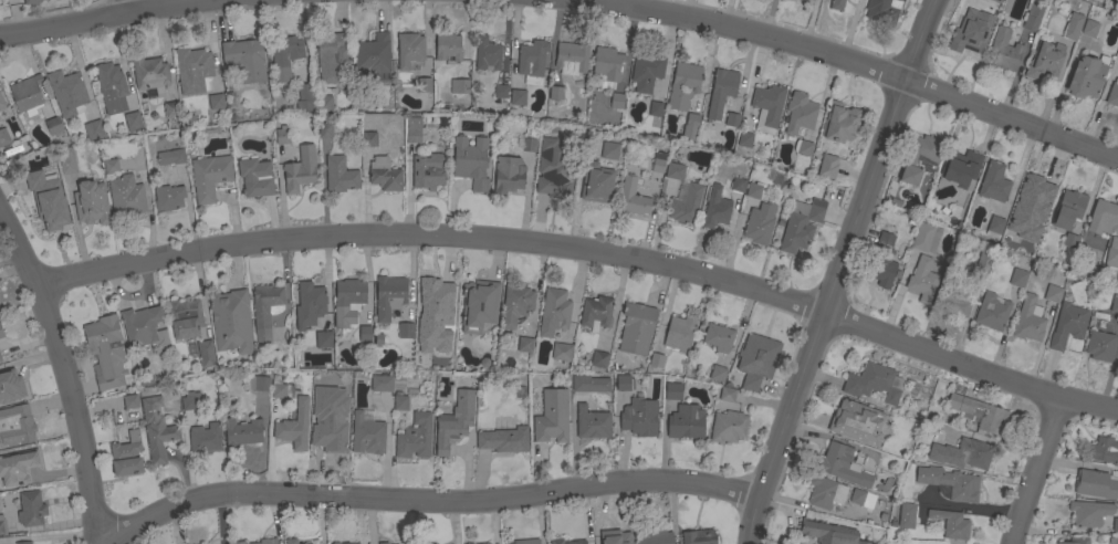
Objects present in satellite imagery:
building: (806, 0)
building: (996, 0)
building: (30, 1)
building: (836, 4)
road: (132, 6)
building: (882, 10)
building: (1032, 17)
road: (101, 19)
building: (1073, 27)
building: (1089, 28)
building: (968, 39)
building: (448, 46)
building: (409, 50)
building: (1003, 51)
building: (1117, 51)
building: (373, 54)
building: (487, 54)
building: (284, 56)
building: (331, 56)
building: (571, 57)
building: (244, 60)
road: (846, 60)
building: (532, 61)
building: (1043, 61)
building: (607, 66)
building: (194, 70)
building: (646, 72)
building: (149, 73)
building: (1086, 76)
building: (424, 84)
building: (683, 85)
building: (459, 86)
building: (111, 87)
building: (500, 91)
building: (721, 92)
building: (67, 93)
building: (555, 93)
building: (27, 94)
building: (1112, 94)
building: (304, 97)
building: (518, 97)
building: (216, 101)
building: (616, 101)
building: (324, 103)
building: (1, 104)
building: (767, 107)
building: (655, 108)
building: (170, 109)
building: (800, 114)
building: (732, 119)
building: (133, 121)
building: (839, 122)
building: (53, 126)
building: (690, 126)
building: (324, 128)
building: (93, 129)
building: (412, 129)
building: (281, 135)
building: (3, 137)
building: (368, 138)
building: (744, 139)
building: (529, 145)
building: (804, 148)
building: (609, 150)
building: (170, 157)
building: (920, 158)
building: (67, 160)
building: (471, 161)
building: (658, 163)
building: (111, 166)
building: (827, 166)
building: (300, 169)
building: (959, 169)
building: (428, 170)
building: (675, 170)
building: (339, 175)
building: (384, 175)
building: (508, 175)
building: (209, 176)
building: (255, 177)
building: (554, 181)
building: (596, 182)
building: (993, 182)
building: (738, 185)
building: (753, 190)
building: (1033, 191)
building: (126, 197)
building: (168, 198)
building: (631, 198)
building: (46, 200)
building: (90, 202)
building: (685, 205)
building: (714, 208)
building: (1067, 209)
building: (1103, 218)
building: (759, 223)
building: (801, 224)
building: (994, 227)
building: (1014, 231)
building: (926, 238)
building: (1069, 240)
road: (588, 248)
building: (1111, 253)
building: (884, 260)
building: (983, 262)
road: (842, 271)
building: (1017, 278)
building: (922, 279)
building: (1052, 293)
building: (388, 295)
building: (954, 300)
building: (347, 301)
building: (428, 301)
building: (309, 304)
building: (515, 304)
building: (1114, 304)
building: (479, 305)
building: (265, 308)
building: (992, 311)
building: (554, 312)
building: (596, 312)
building: (185, 317)
building: (276, 317)
building: (1028, 320)
building: (230, 321)
building: (1067, 323)
building: (145, 328)
building: (636, 328)
building: (405, 331)
building: (1, 333)
building: (364, 333)
building: (679, 333)
building: (718, 336)
building: (0, 337)
building: (323, 338)
building: (524, 344)
building: (1099, 345)
building: (105, 351)
building: (562, 352)
building: (205, 354)
building: (421, 354)
building: (0, 359)
building: (598, 359)
building: (656, 359)
building: (756, 359)
road: (67, 372)
building: (718, 373)
building: (623, 383)
building: (874, 383)
building: (258, 384)
building: (382, 384)
building: (589, 384)
building: (10, 386)
building: (280, 389)
building: (672, 391)
building: (724, 394)
building: (343, 399)
building: (194, 400)
building: (129, 401)
building: (400, 402)
building: (979, 412)
building: (552, 417)
building: (639, 417)
building: (454, 421)
building: (592, 422)
building: (686, 422)
building: (857, 422)
building: (17, 426)
building: (294, 426)
building: (728, 427)
building: (156, 429)
building: (241, 432)
building: (367, 435)
building: (415, 437)
building: (205, 438)
building: (326, 438)
building: (504, 440)
building: (1104, 450)
building: (963, 453)
building: (126, 456)
building: (843, 464)
building: (18, 467)
road: (1036, 470)
building: (950, 482)
building: (1096, 484)
building: (825, 492)
building: (863, 499)
road: (428, 501)
building: (31, 509)
building: (1089, 513)
building: (906, 515)
building: (952, 524)
building: (1115, 524)
building: (2, 525)
building: (821, 531)
building: (654, 536)
building: (615, 537)
building: (699, 537)
building: (1112, 540)
building: (267, 541)
building: (291, 541)
building: (526, 541)
building: (1075, 541)
building: (566, 542)
building: (861, 542)
building: (23, 543)
building: (239, 543)
building: (306, 543)
building: (351, 543)
building: (383, 543)
building: (485, 543)

